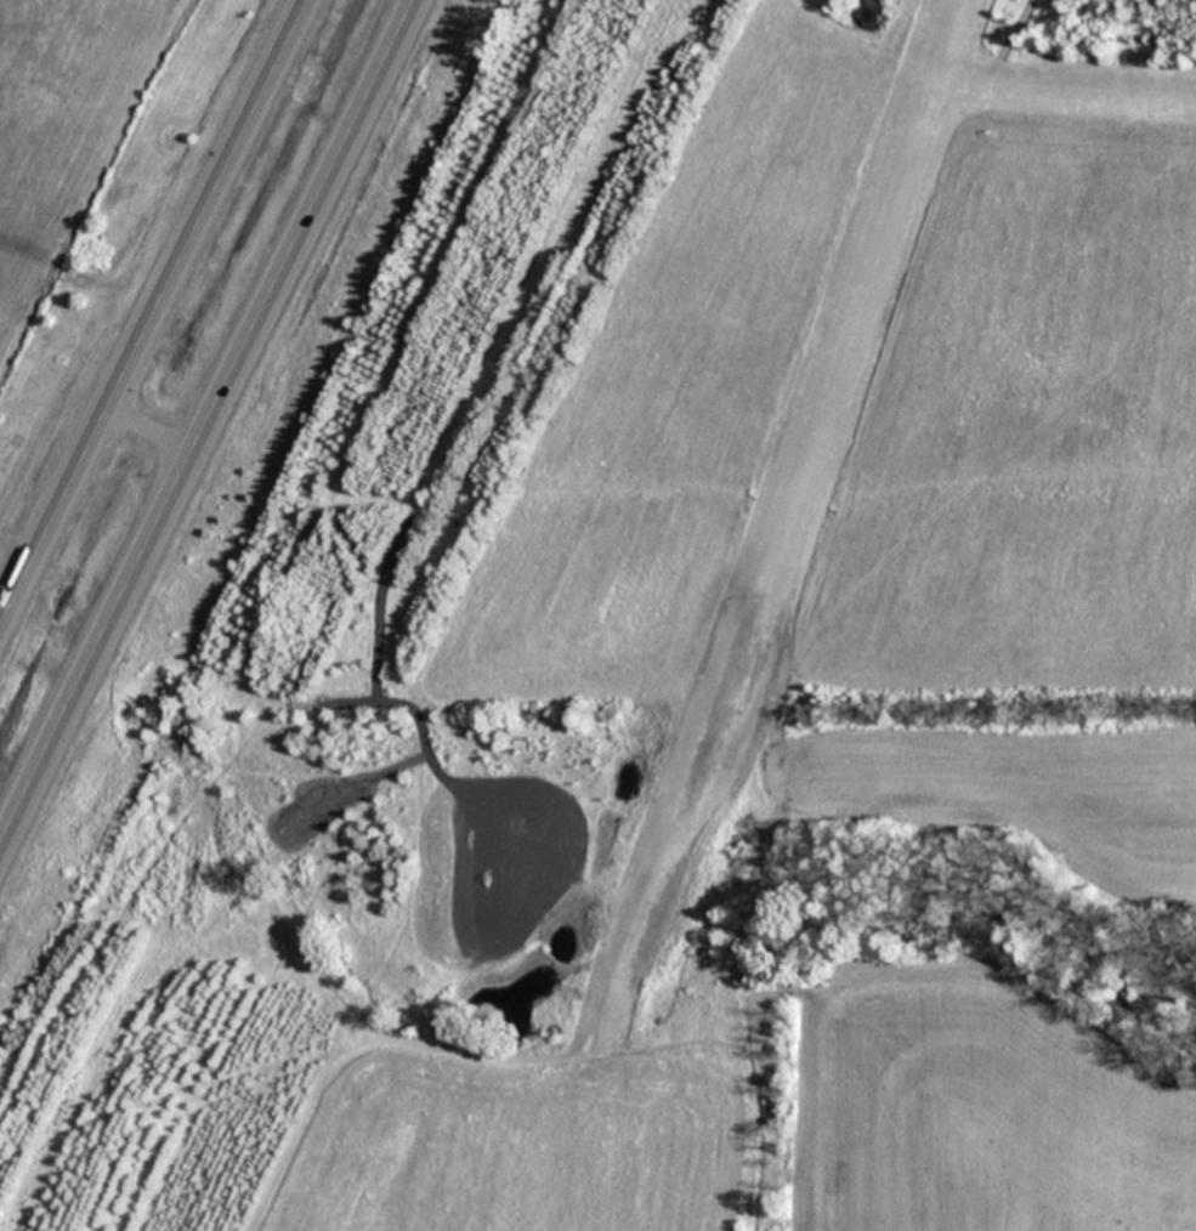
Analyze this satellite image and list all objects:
road: (152, 312)
airport runway: (846, 342)
road: (208, 421)

